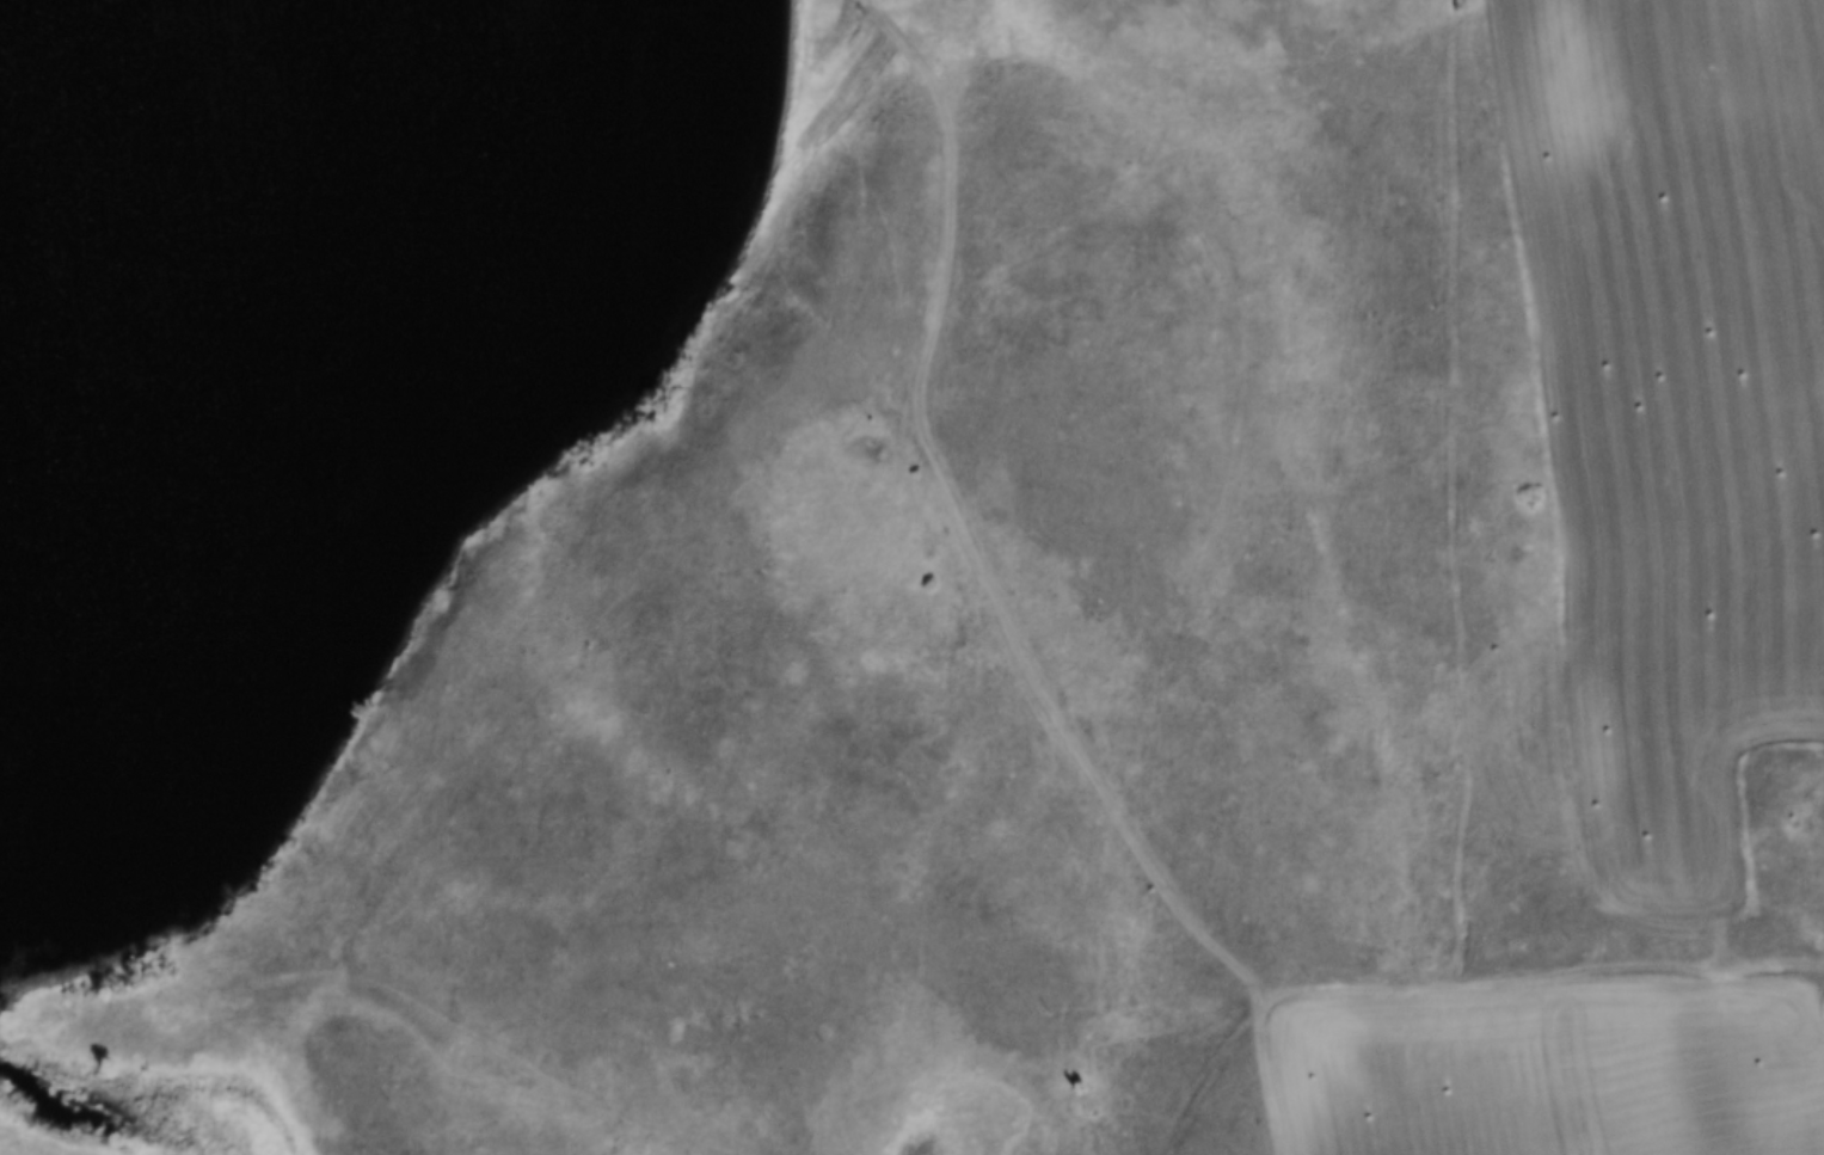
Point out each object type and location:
road: (994, 598)

